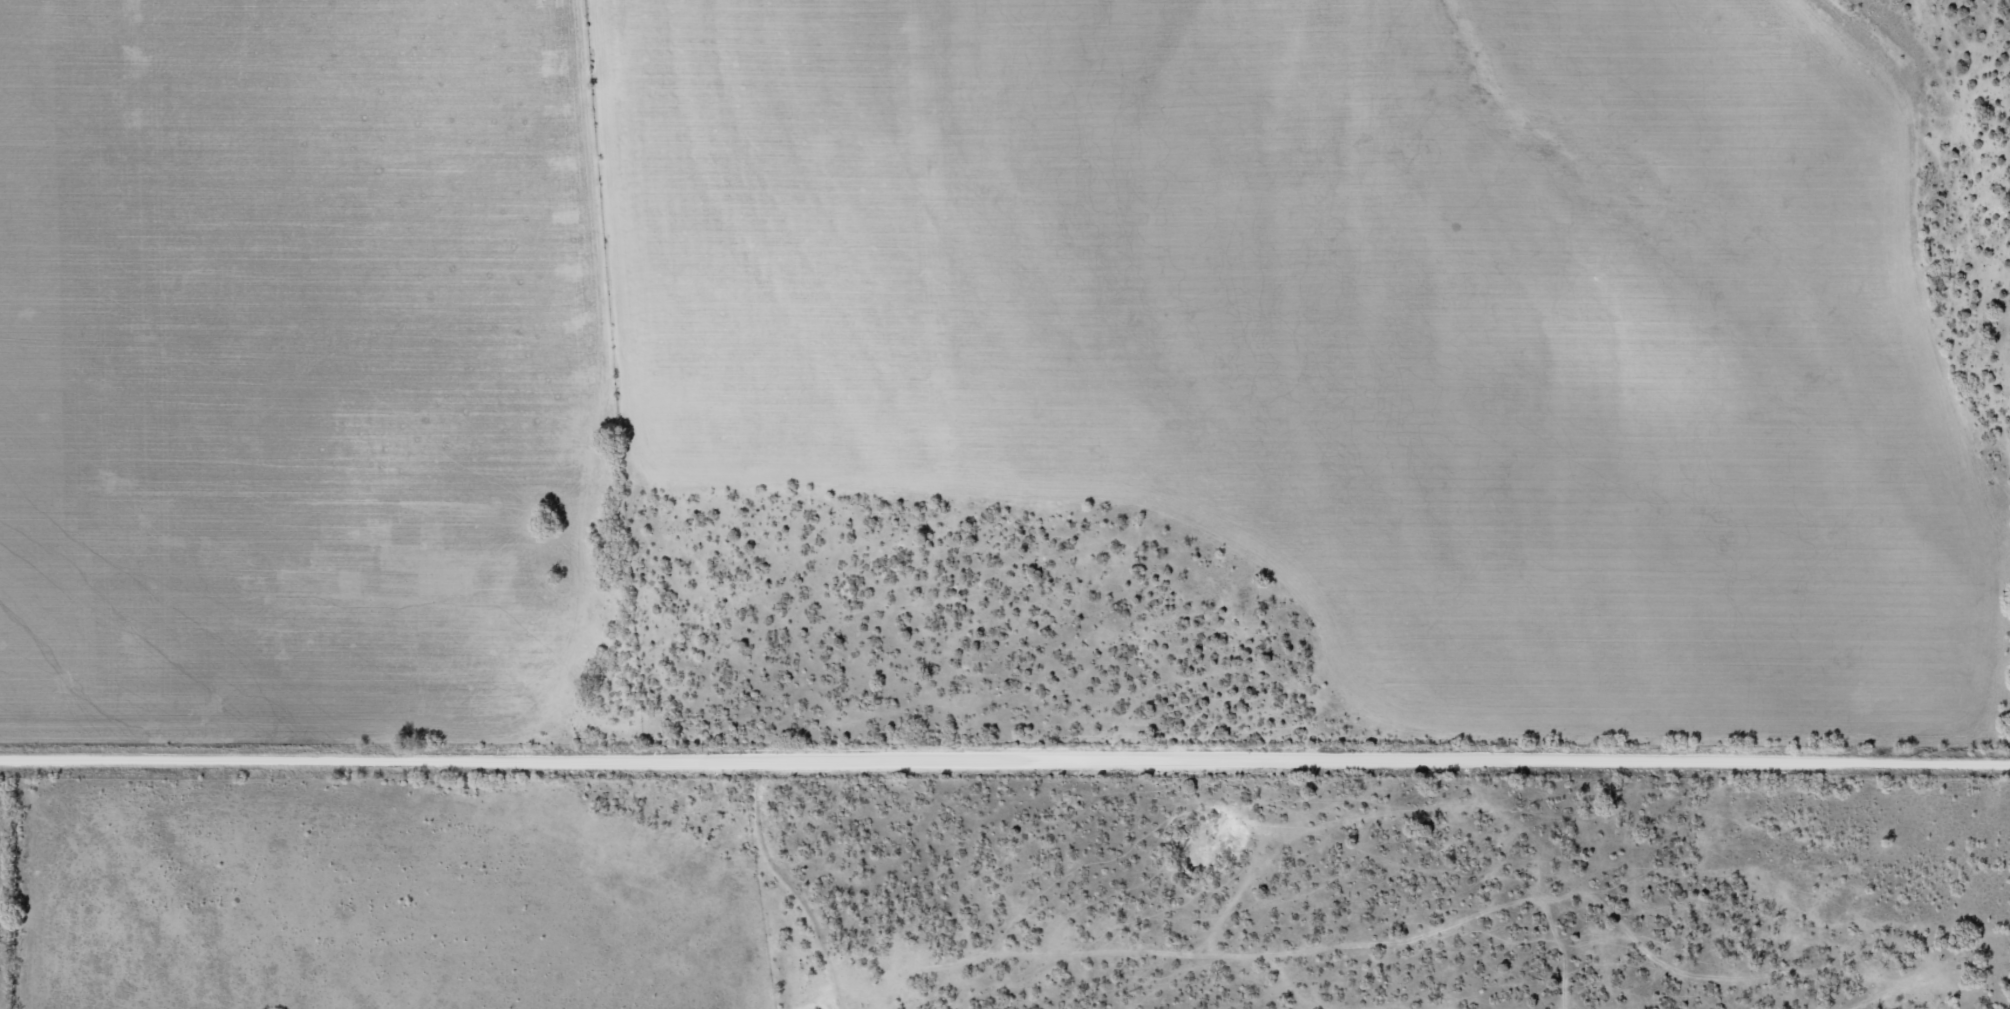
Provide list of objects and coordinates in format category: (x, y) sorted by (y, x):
road: (1005, 763)

